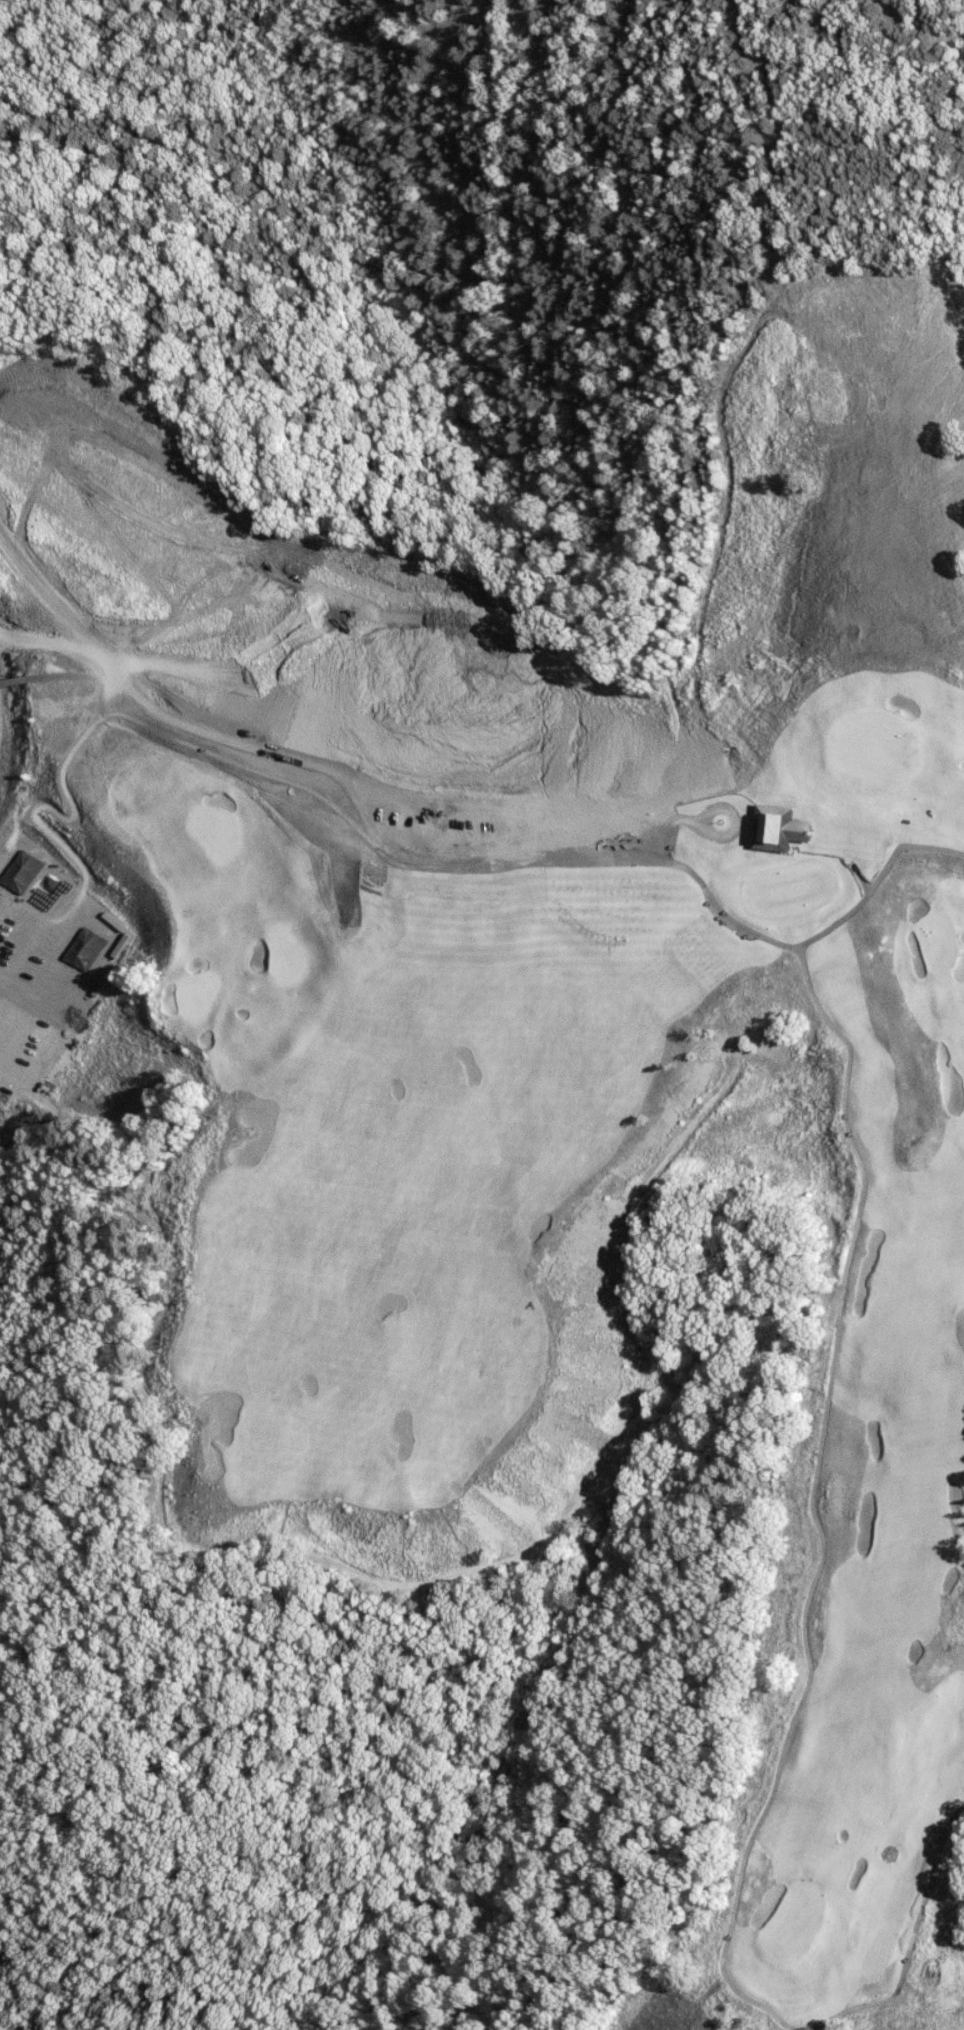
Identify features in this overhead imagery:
building: (785, 829)
road: (19, 991)

